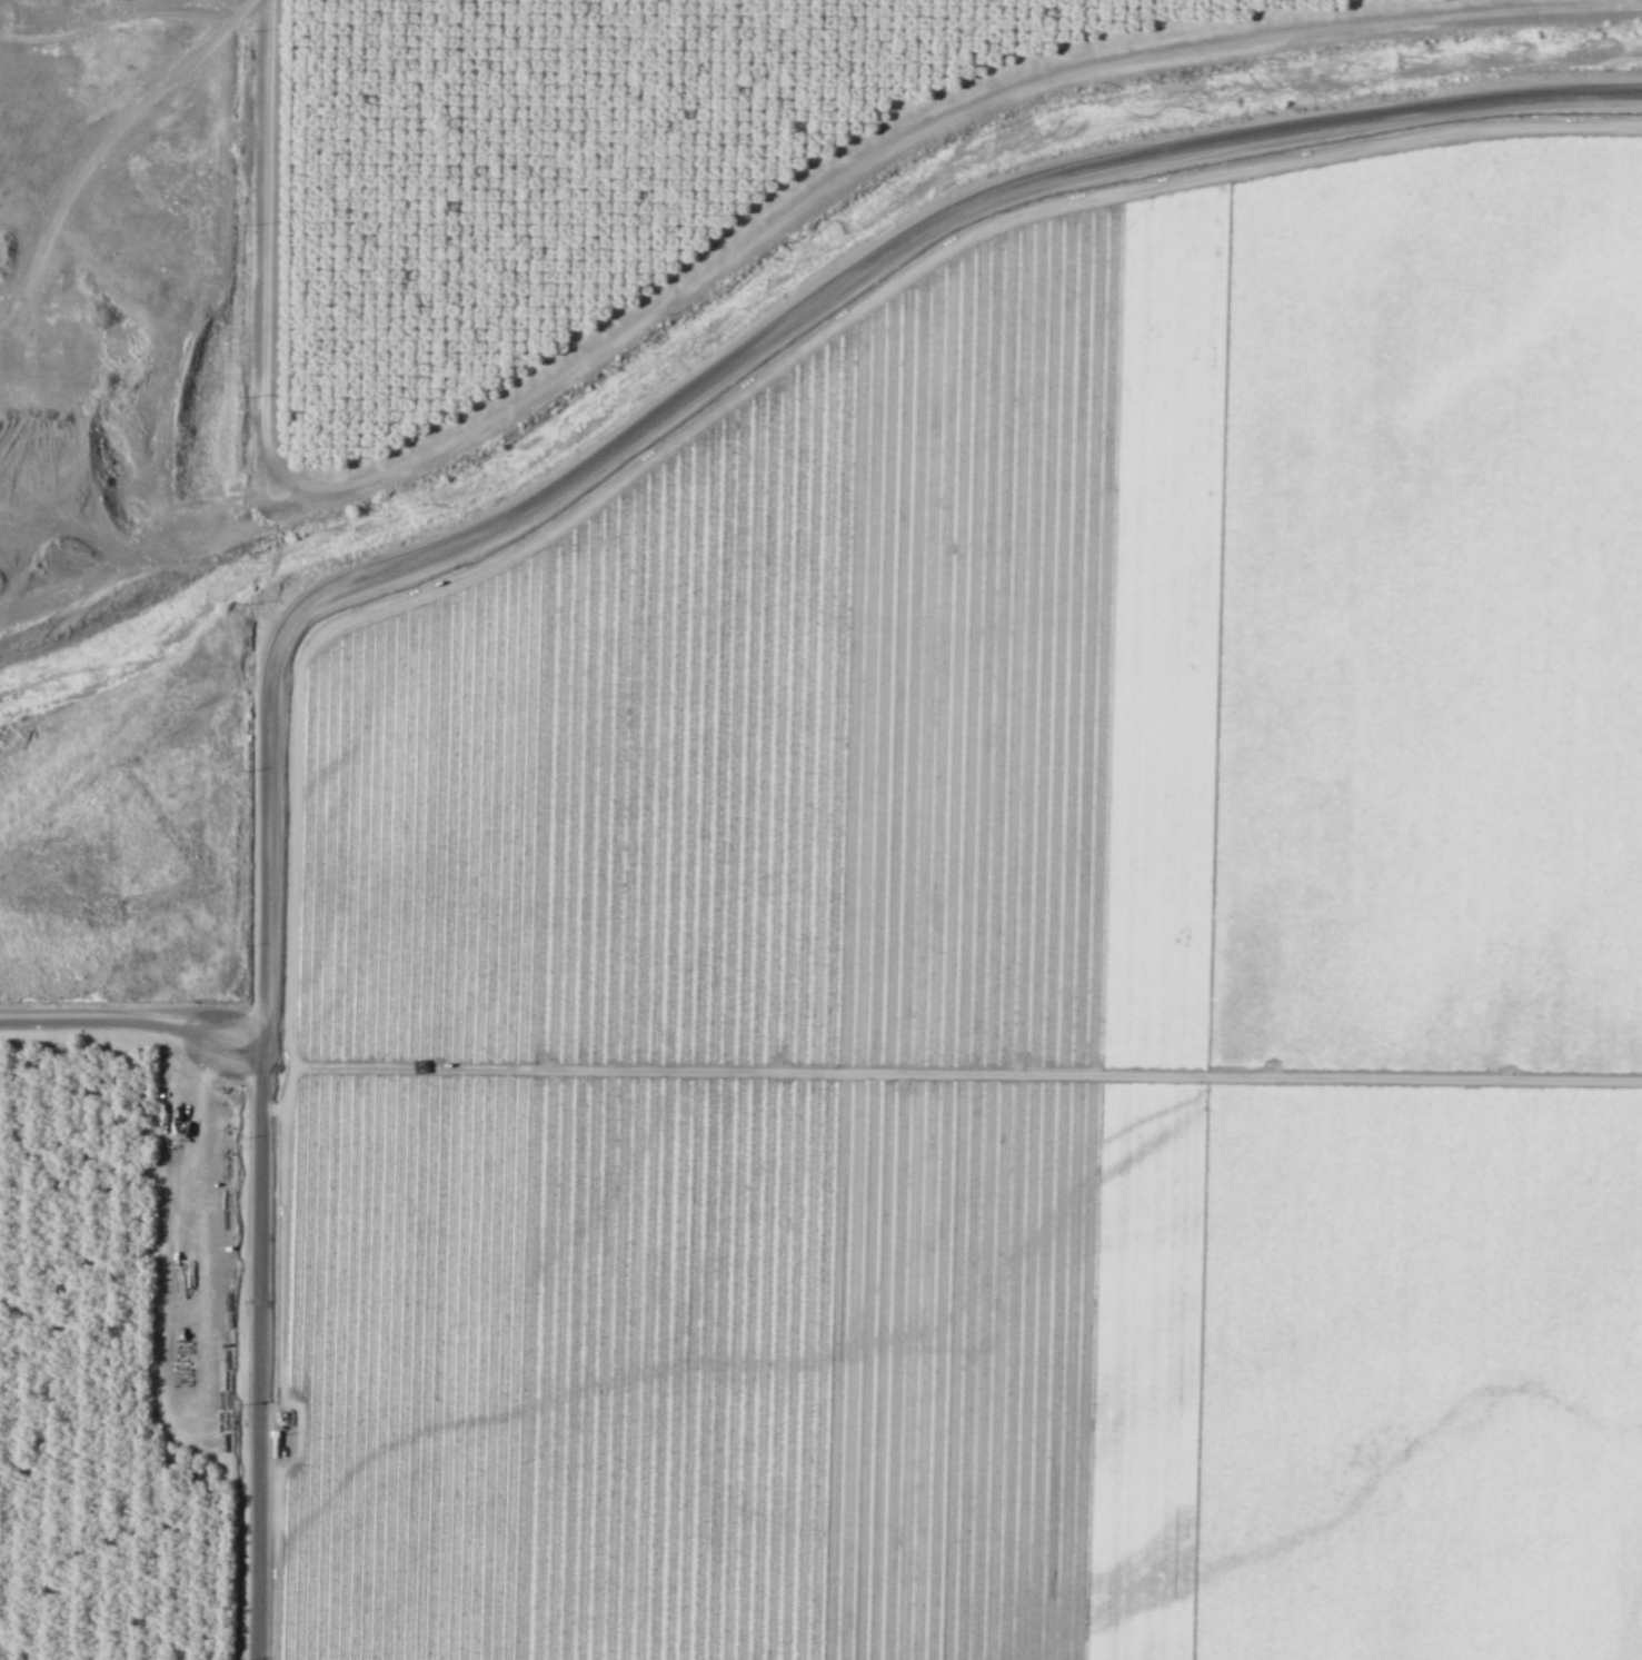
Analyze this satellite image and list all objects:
road: (117, 19)
road: (973, 193)
road: (38, 251)
road: (714, 268)
road: (617, 479)
road: (142, 547)
road: (130, 1017)
road: (965, 1073)
road: (259, 1074)
road: (203, 1344)
road: (270, 1414)
road: (276, 1525)

